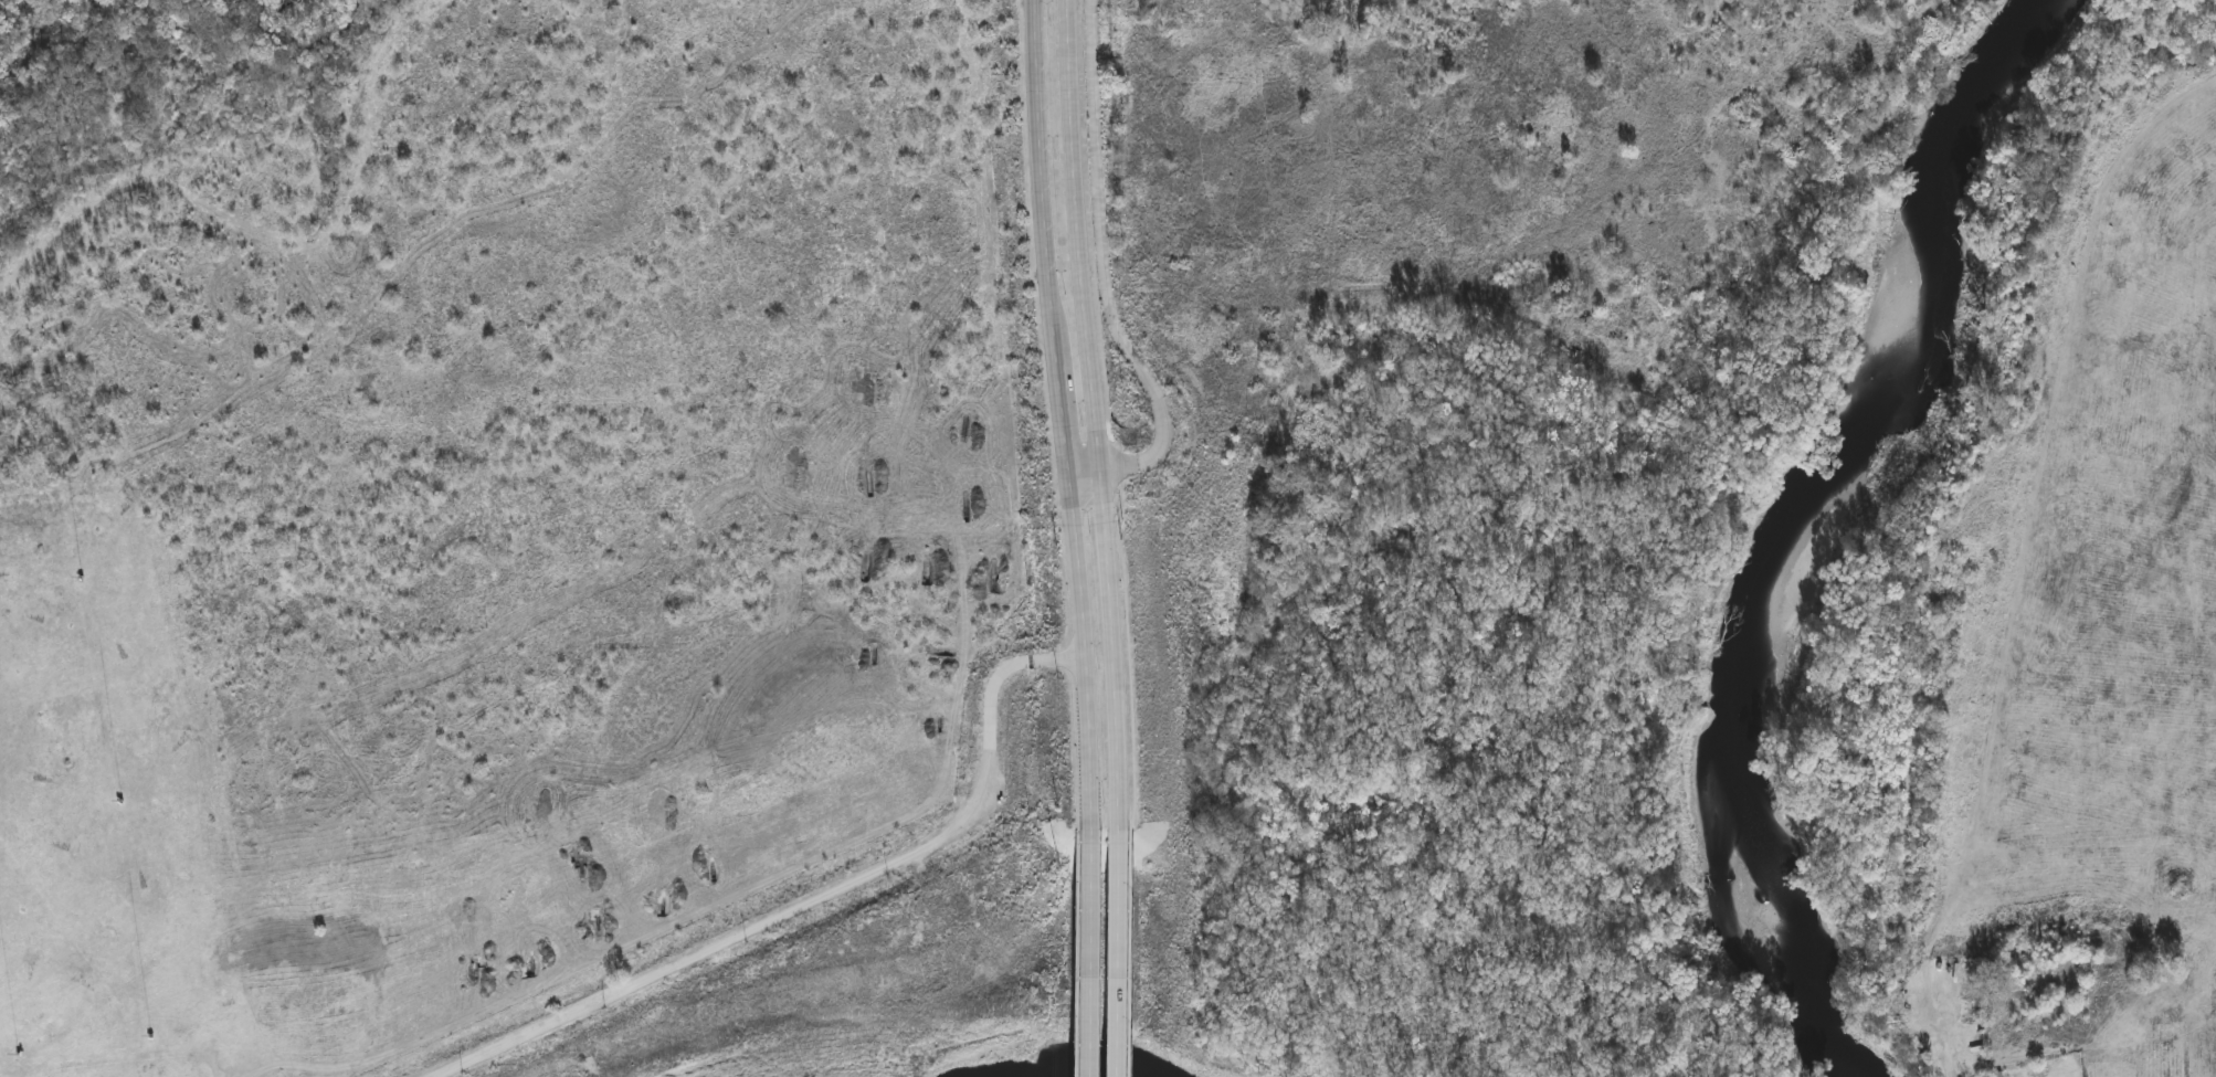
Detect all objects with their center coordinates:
road: (1043, 182)
road: (1111, 283)
road: (1093, 329)
road: (1064, 419)
river: (1830, 527)
road: (1077, 568)
road: (1119, 745)
road: (1088, 747)
road: (815, 902)
road: (1088, 953)
road: (1119, 953)

